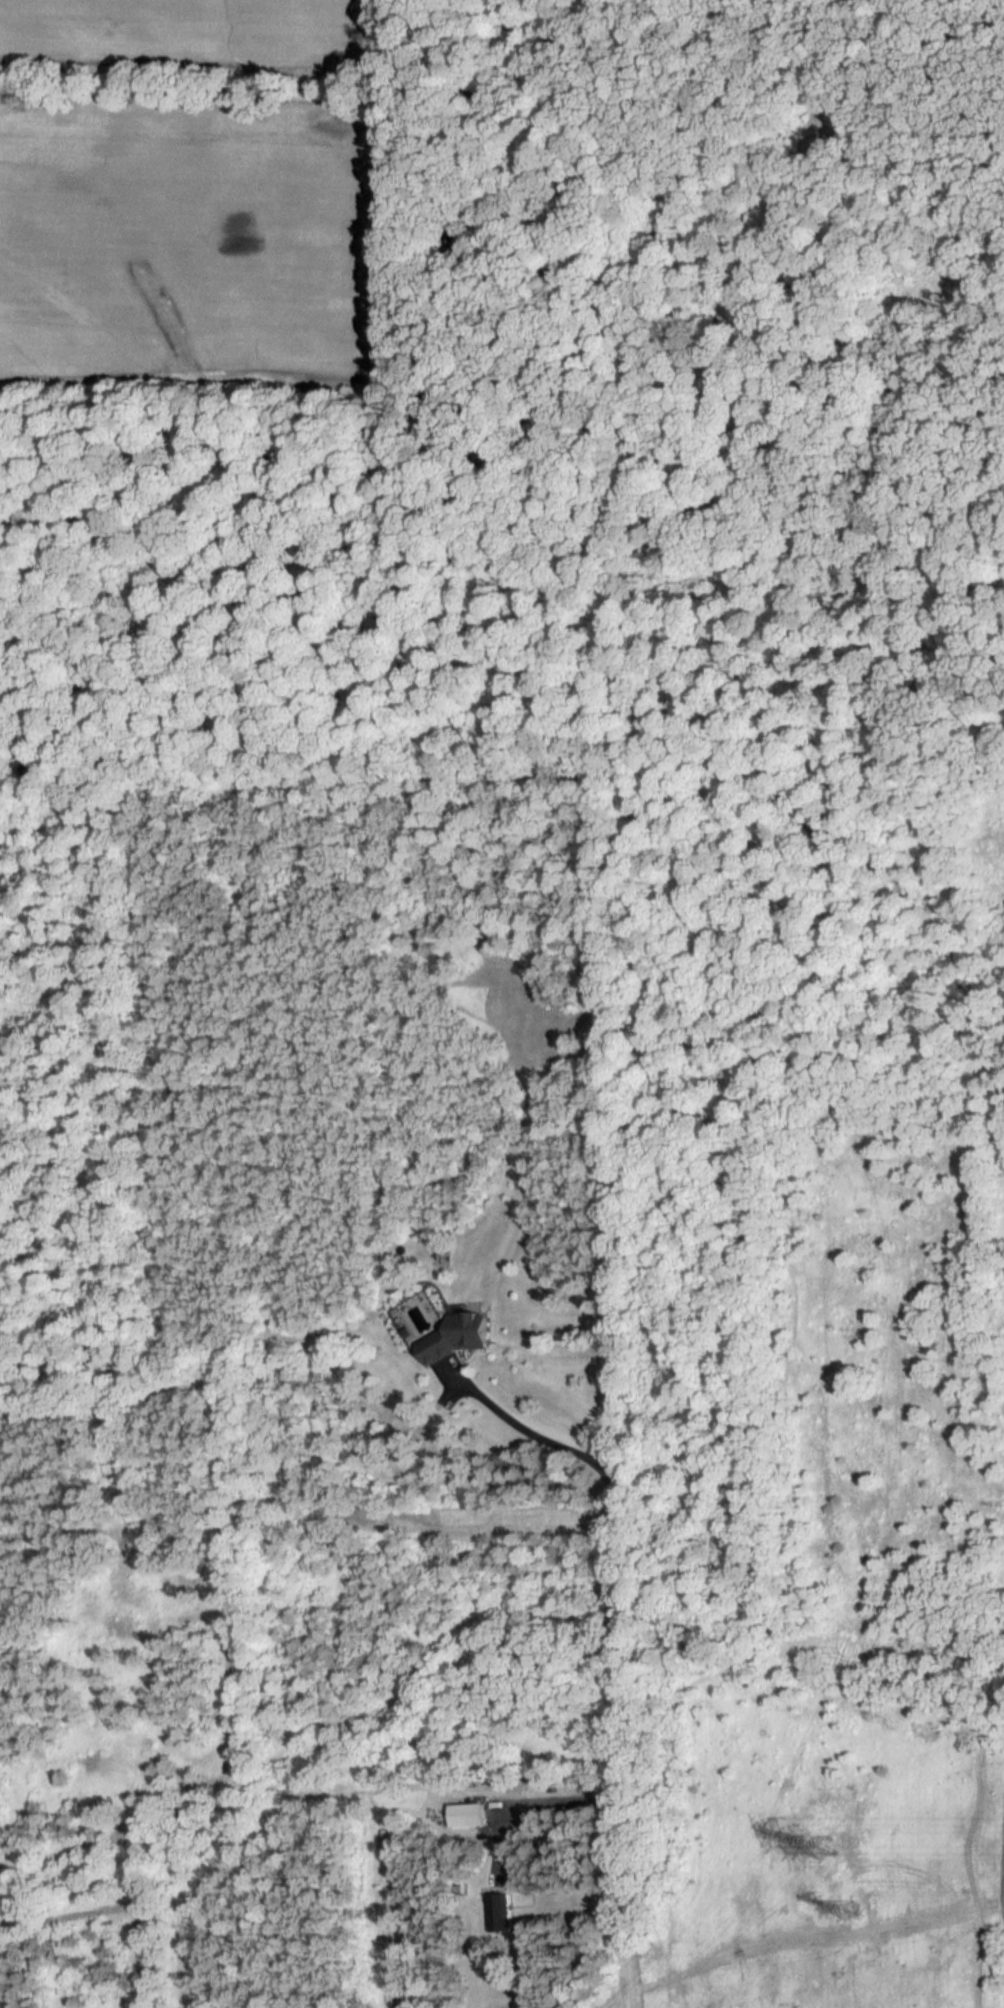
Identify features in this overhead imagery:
building: (457, 1338)
road: (614, 1646)
road: (553, 1810)
power tower: (812, 1849)
power tower: (851, 1911)
building: (502, 1913)

